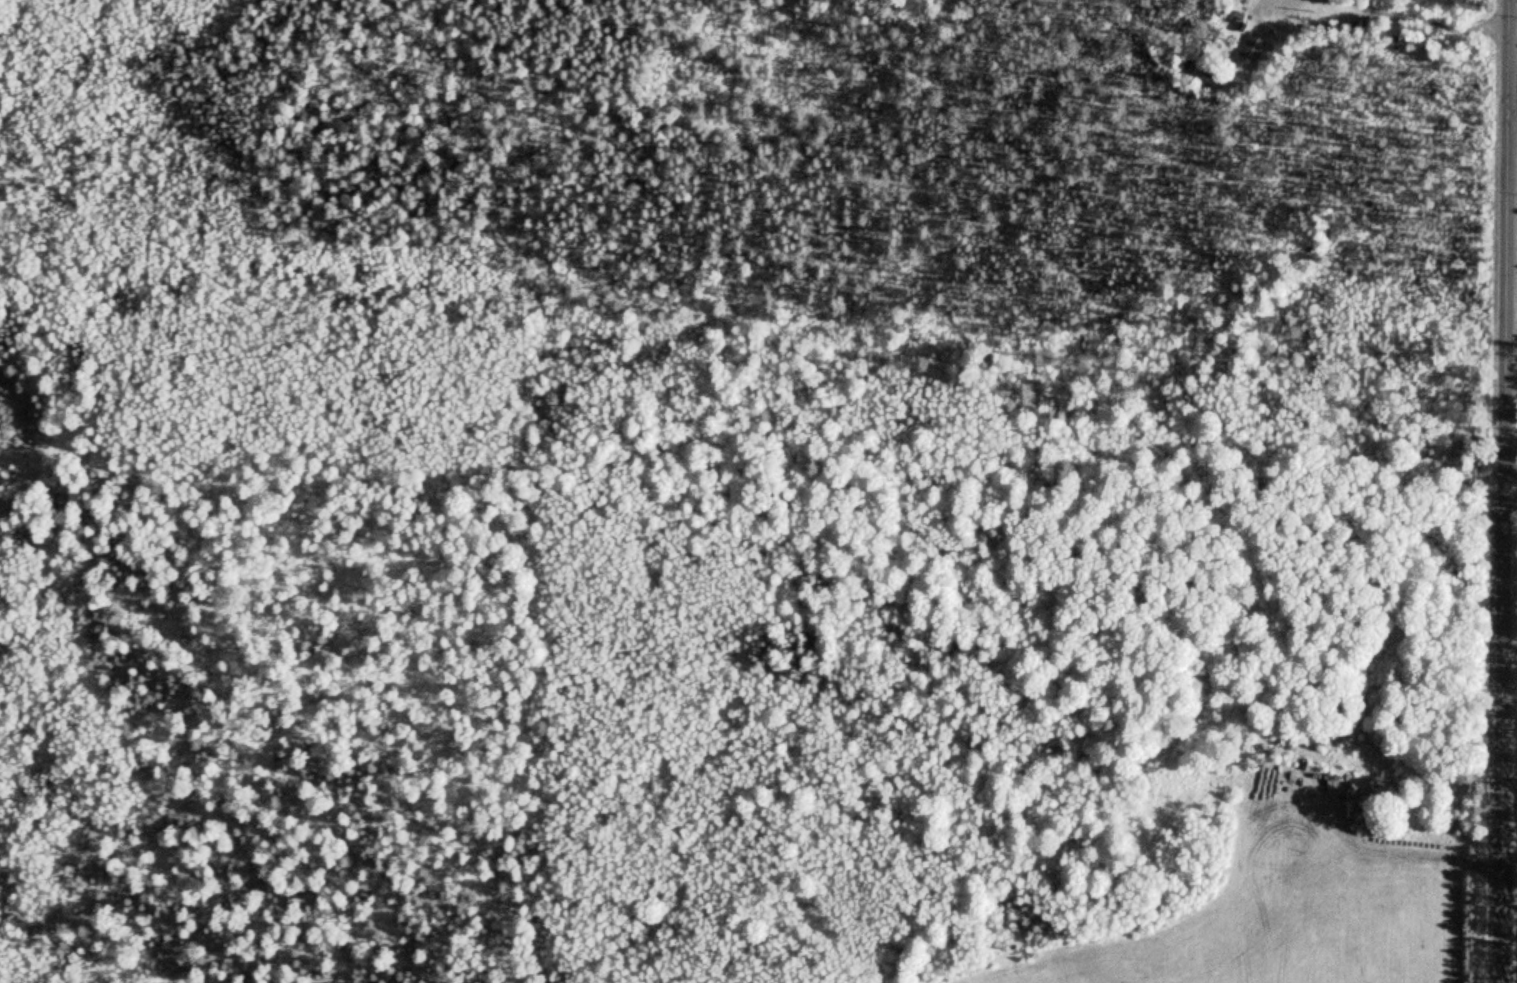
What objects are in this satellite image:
road: (1416, 13)
building: (1250, 51)
road: (1504, 491)

